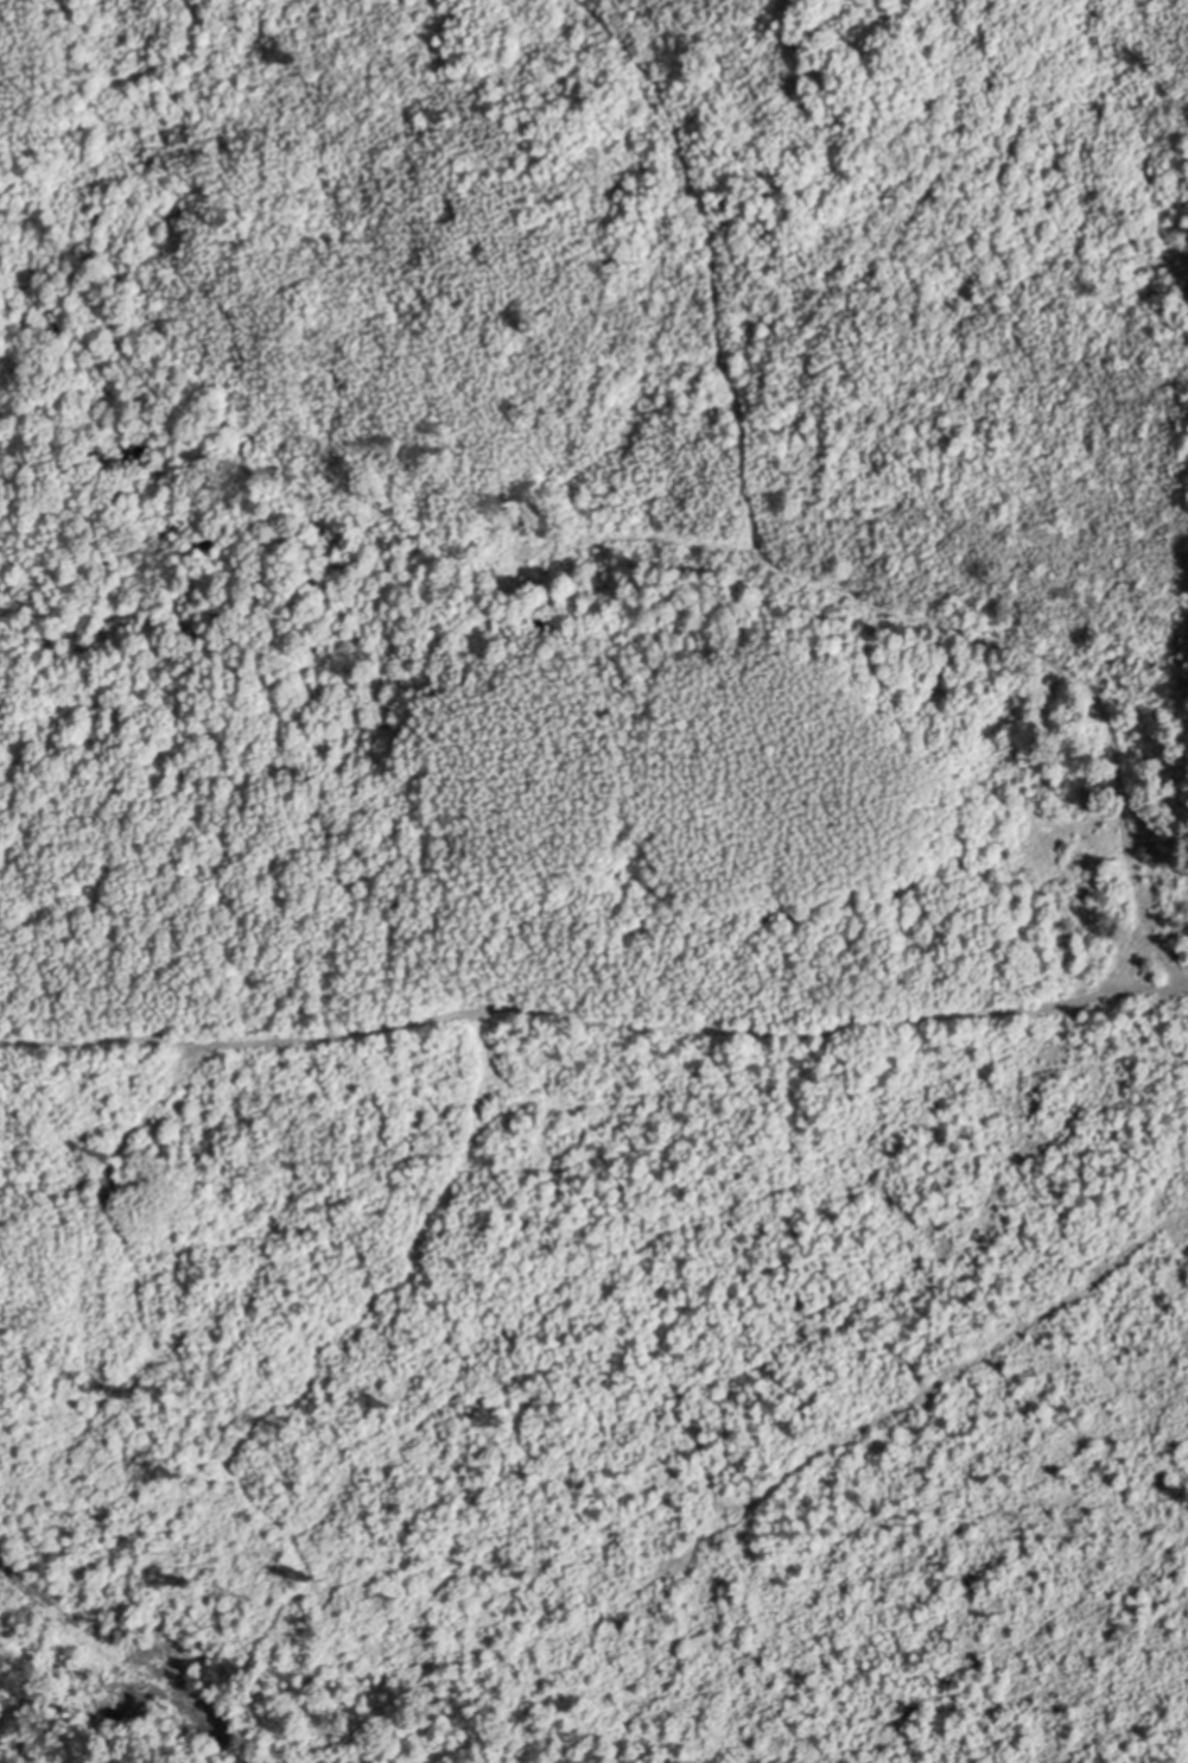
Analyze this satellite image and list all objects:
road: (796, 576)
road: (592, 1019)

